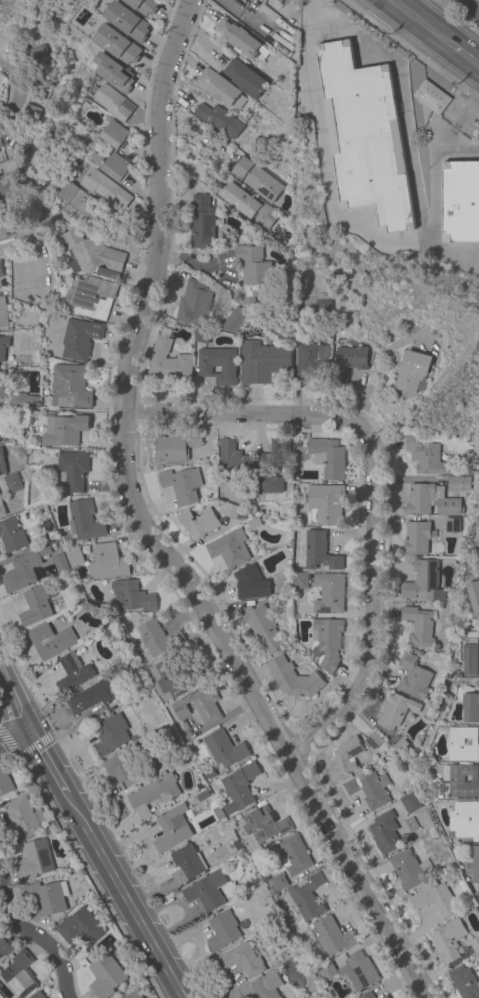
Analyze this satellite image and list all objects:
building: (144, 5)
road: (469, 7)
road: (280, 11)
building: (128, 22)
road: (420, 24)
road: (307, 31)
building: (238, 37)
building: (118, 45)
road: (465, 57)
building: (39, 59)
building: (113, 72)
building: (245, 78)
building: (221, 88)
road: (12, 95)
building: (431, 97)
building: (113, 101)
building: (0, 105)
building: (29, 110)
road: (467, 110)
parking lot: (462, 115)
building: (218, 119)
building: (115, 133)
building: (365, 137)
building: (286, 161)
building: (116, 167)
building: (256, 179)
building: (7, 184)
building: (104, 188)
building: (77, 200)
building: (460, 202)
building: (249, 206)
building: (0, 219)
building: (202, 223)
building: (92, 254)
building: (253, 270)
building: (1, 271)
building: (91, 296)
building: (194, 303)
building: (322, 306)
building: (3, 313)
building: (235, 318)
building: (201, 335)
building: (80, 338)
building: (5, 350)
building: (310, 357)
building: (168, 362)
building: (262, 362)
building: (347, 362)
building: (217, 365)
road: (374, 372)
building: (413, 372)
building: (3, 385)
building: (70, 387)
building: (22, 398)
building: (64, 429)
building: (2, 437)
building: (32, 445)
building: (176, 447)
building: (51, 454)
building: (328, 457)
building: (425, 457)
building: (233, 459)
building: (2, 464)
building: (271, 467)
building: (71, 470)
building: (469, 472)
building: (12, 482)
building: (182, 484)
building: (457, 484)
road: (368, 489)
building: (430, 501)
building: (326, 503)
building: (2, 509)
building: (230, 511)
building: (84, 521)
building: (199, 522)
building: (253, 523)
building: (451, 525)
road: (143, 532)
building: (477, 532)
building: (11, 535)
building: (416, 538)
building: (229, 548)
building: (319, 551)
building: (74, 556)
building: (107, 562)
building: (59, 563)
building: (23, 567)
building: (300, 580)
building: (422, 582)
building: (251, 583)
building: (329, 593)
building: (474, 595)
building: (132, 596)
building: (283, 601)
building: (36, 603)
building: (419, 626)
building: (261, 627)
building: (158, 637)
building: (49, 641)
building: (327, 642)
building: (471, 654)
building: (72, 672)
building: (459, 675)
building: (175, 677)
building: (413, 677)
building: (292, 678)
road: (5, 680)
building: (468, 682)
building: (92, 695)
building: (469, 703)
building: (443, 704)
building: (199, 705)
building: (395, 711)
road: (21, 713)
building: (428, 714)
traffic signals: (31, 732)
building: (110, 734)
road: (15, 739)
building: (373, 740)
road: (6, 744)
building: (142, 744)
building: (463, 744)
road: (35, 746)
building: (401, 747)
building: (224, 749)
road: (16, 756)
building: (348, 756)
road: (48, 763)
building: (119, 767)
building: (462, 780)
building: (4, 781)
building: (239, 787)
building: (367, 790)
building: (154, 791)
building: (411, 802)
building: (217, 813)
building: (21, 819)
building: (465, 820)
building: (411, 824)
building: (264, 825)
building: (171, 828)
building: (223, 829)
building: (384, 832)
building: (405, 838)
building: (236, 845)
building: (293, 855)
building: (34, 860)
building: (186, 864)
building: (473, 866)
building: (409, 869)
building: (257, 881)
building: (278, 882)
building: (206, 890)
building: (47, 896)
road: (122, 896)
building: (307, 897)
building: (434, 899)
building: (80, 927)
building: (222, 930)
building: (334, 935)
road: (35, 936)
building: (448, 940)
building: (5, 945)
building: (475, 945)
building: (478, 955)
building: (242, 959)
building: (362, 969)
building: (327, 971)
building: (17, 975)
building: (105, 976)
building: (464, 982)
building: (266, 986)
building: (37, 995)
building: (133, 995)
building: (367, 995)
building: (385, 996)

